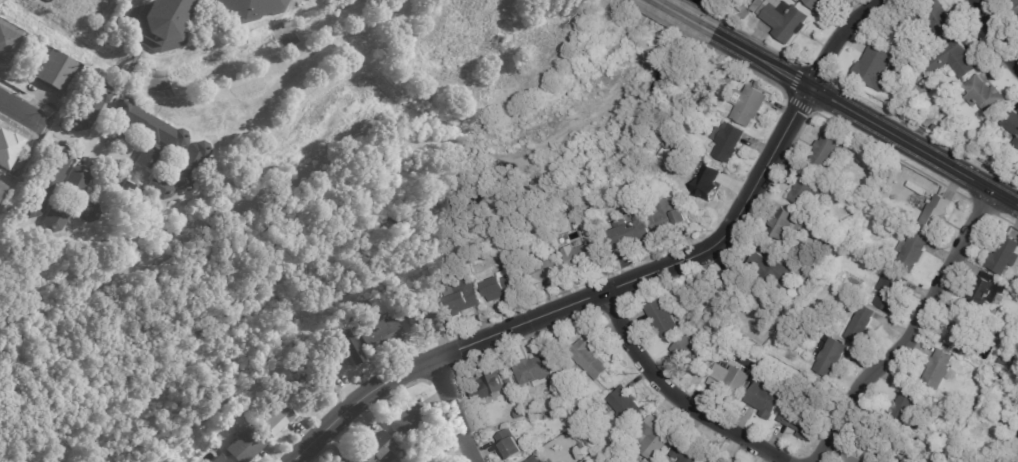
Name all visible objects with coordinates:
road: (628, 2)
building: (818, 5)
building: (1014, 5)
building: (247, 8)
road: (683, 16)
building: (781, 19)
building: (930, 22)
building: (157, 23)
road: (668, 25)
road: (995, 34)
building: (8, 40)
building: (952, 61)
building: (53, 69)
building: (874, 69)
building: (983, 96)
building: (748, 105)
building: (88, 108)
road: (23, 113)
road: (865, 121)
building: (929, 122)
building: (148, 124)
building: (1011, 128)
building: (937, 130)
building: (727, 141)
building: (667, 146)
road: (88, 148)
building: (8, 149)
building: (824, 151)
building: (148, 156)
building: (981, 156)
building: (1002, 156)
building: (188, 164)
building: (651, 168)
building: (75, 179)
building: (705, 181)
building: (46, 182)
building: (677, 182)
building: (807, 186)
building: (0, 187)
building: (156, 187)
building: (121, 194)
building: (83, 209)
building: (575, 210)
building: (935, 214)
building: (54, 216)
building: (666, 216)
building: (783, 223)
building: (628, 231)
building: (883, 234)
building: (910, 252)
building: (584, 255)
building: (1003, 256)
building: (511, 264)
building: (543, 271)
building: (770, 271)
building: (1016, 278)
road: (631, 281)
building: (499, 285)
building: (727, 288)
building: (889, 290)
building: (985, 291)
building: (460, 298)
building: (429, 305)
building: (414, 318)
building: (662, 318)
building: (860, 324)
building: (343, 329)
building: (962, 329)
building: (383, 333)
road: (908, 335)
building: (346, 346)
building: (692, 354)
building: (830, 358)
building: (340, 359)
building: (589, 359)
building: (938, 369)
building: (328, 370)
building: (533, 371)
building: (565, 377)
building: (300, 378)
building: (730, 379)
building: (509, 383)
building: (487, 390)
building: (578, 392)
road: (676, 395)
building: (766, 398)
building: (563, 401)
building: (905, 402)
building: (624, 405)
road: (453, 410)
building: (1017, 410)
building: (567, 414)
building: (578, 416)
building: (274, 418)
building: (798, 420)
building: (407, 422)
building: (567, 437)
building: (652, 438)
building: (244, 444)
building: (510, 444)
building: (379, 451)
building: (686, 452)
building: (859, 455)
building: (936, 457)
building: (217, 459)
building: (534, 459)
building: (637, 460)
building: (951, 460)
building: (351, 461)
building: (606, 461)
building: (715, 461)
building: (900, 461)
building: (905, 461)
building: (978, 461)

